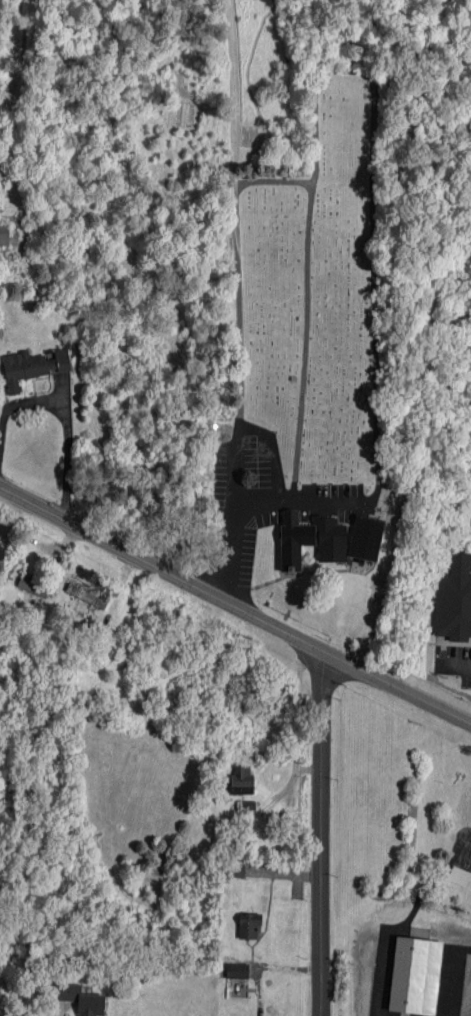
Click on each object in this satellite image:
building: (4, 234)
road: (240, 301)
building: (32, 367)
road: (64, 410)
road: (299, 502)
building: (366, 537)
building: (311, 539)
building: (34, 584)
building: (87, 597)
building: (454, 600)
road: (234, 609)
road: (454, 662)
building: (242, 779)
building: (246, 805)
road: (324, 836)
building: (235, 868)
building: (249, 925)
building: (238, 970)
building: (415, 975)
building: (77, 998)

